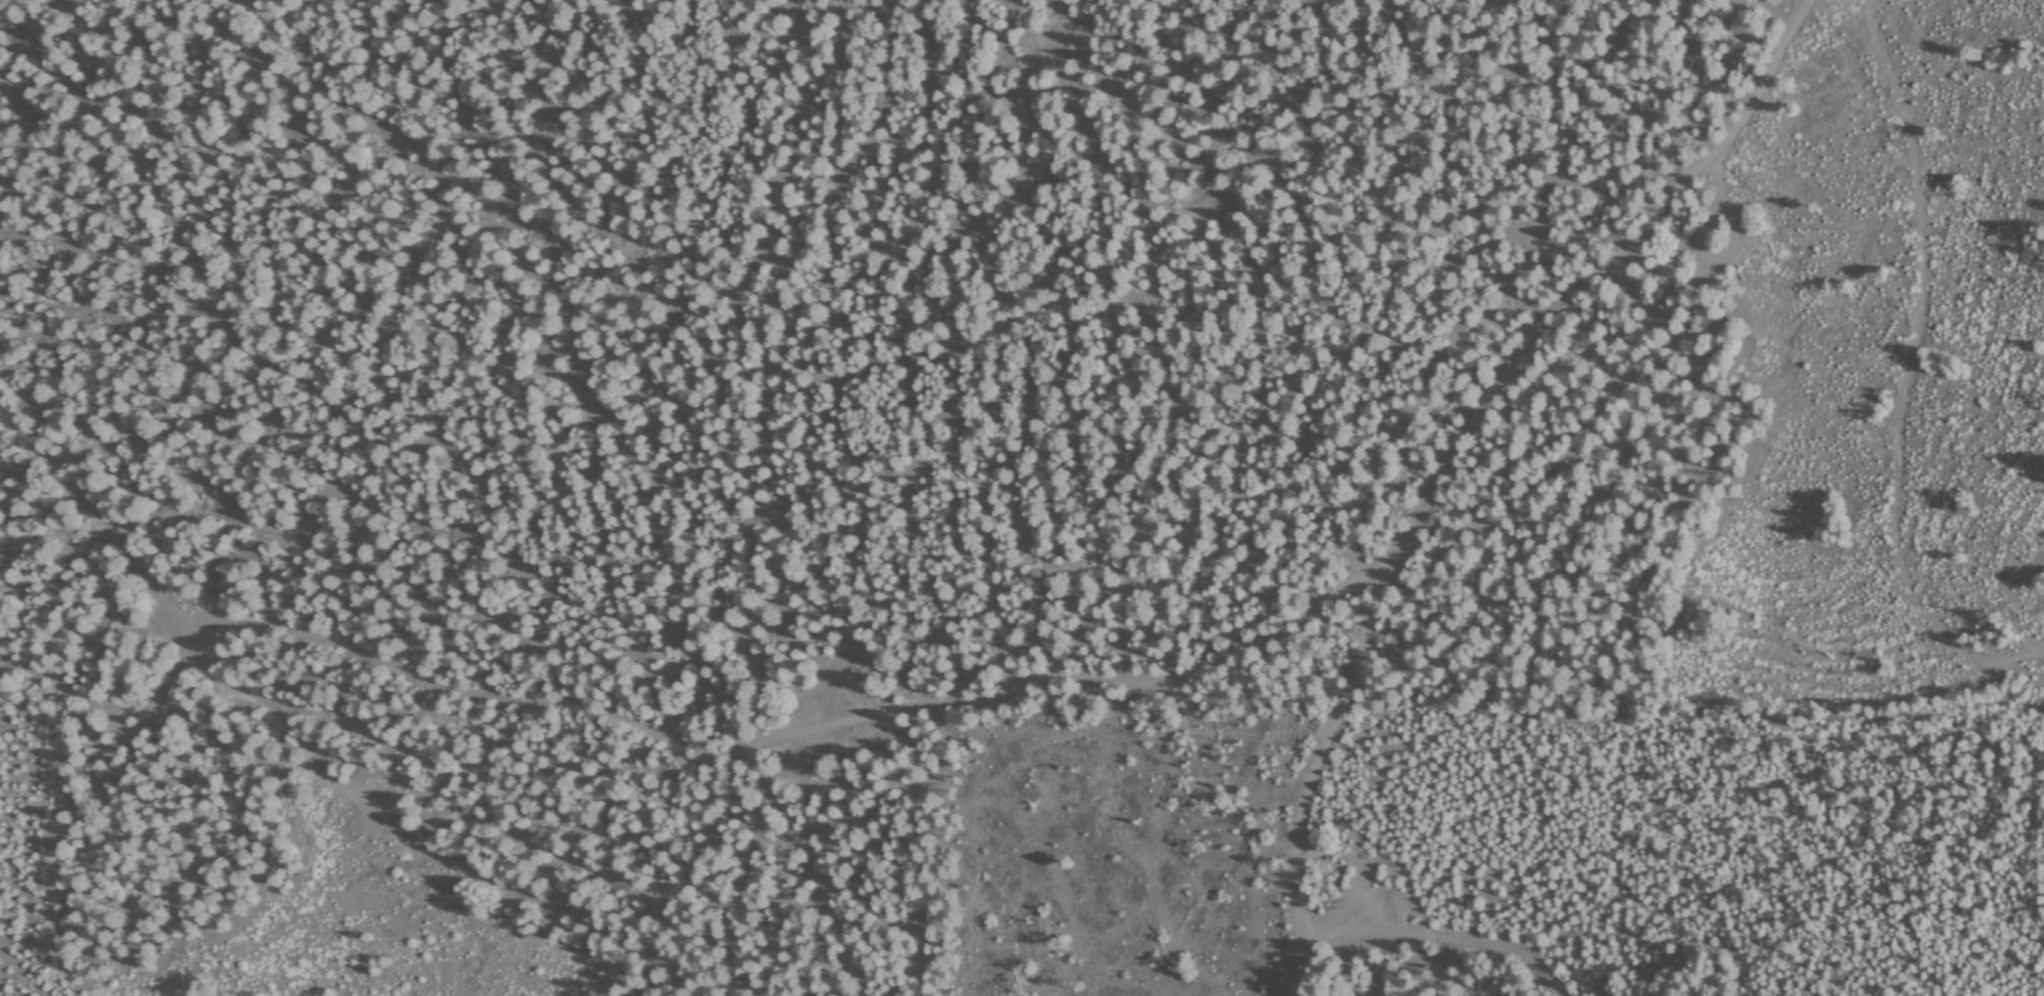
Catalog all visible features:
road: (1456, 448)
road: (1398, 928)

